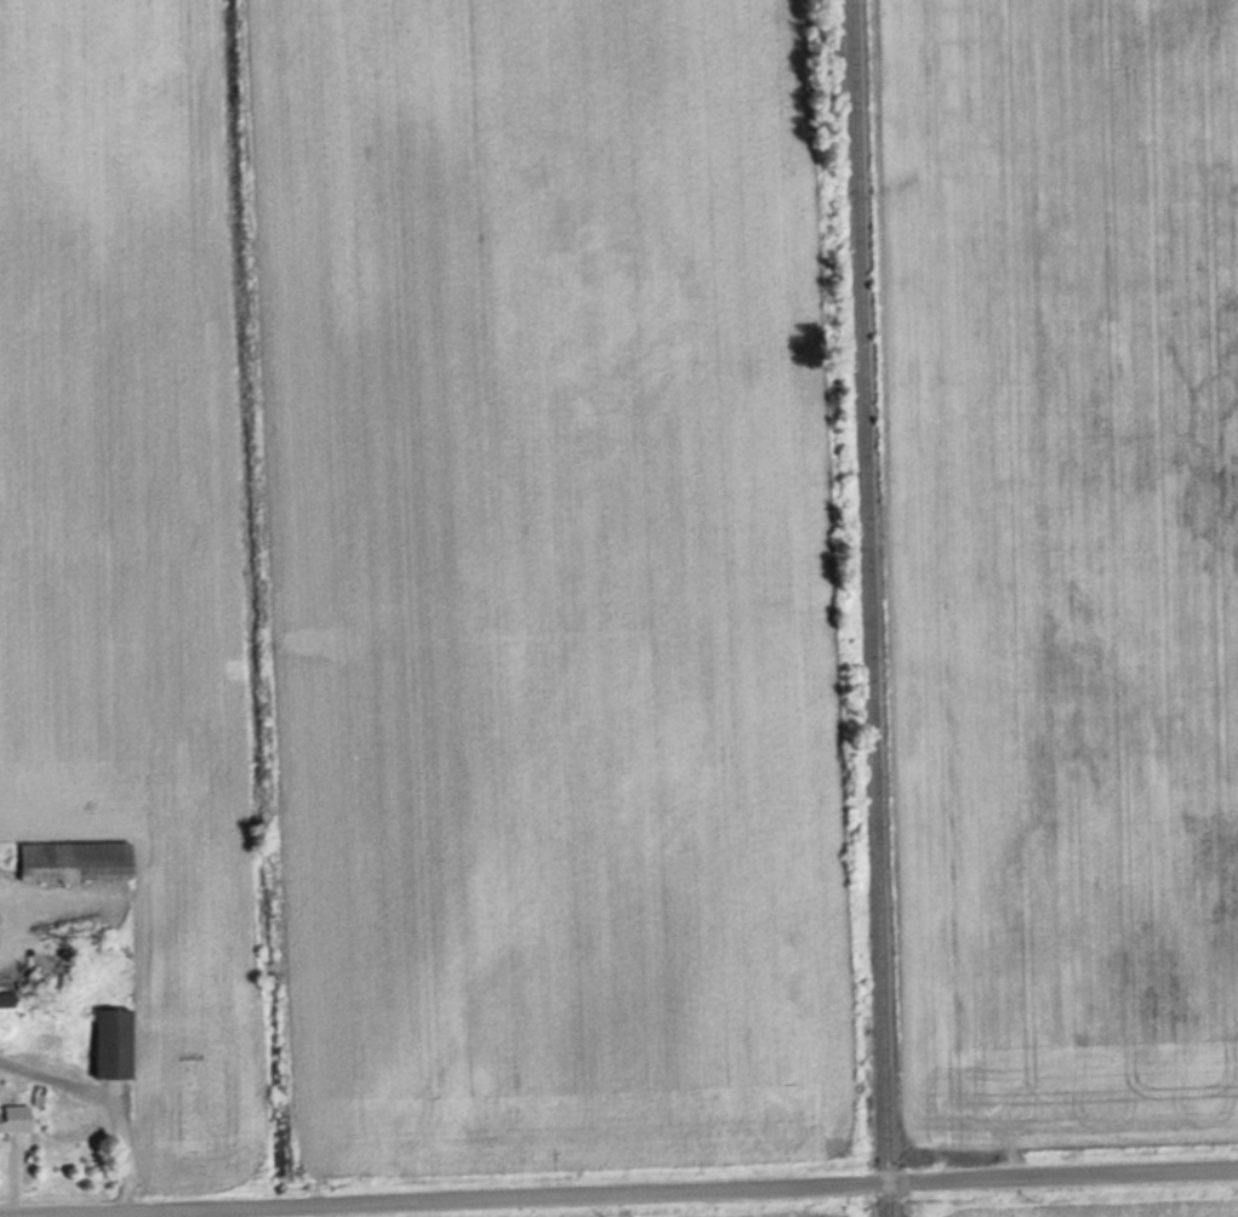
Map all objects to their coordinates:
railway: (872, 607)
building: (74, 859)
building: (6, 999)
building: (112, 1044)
building: (13, 1118)
road: (640, 1190)

